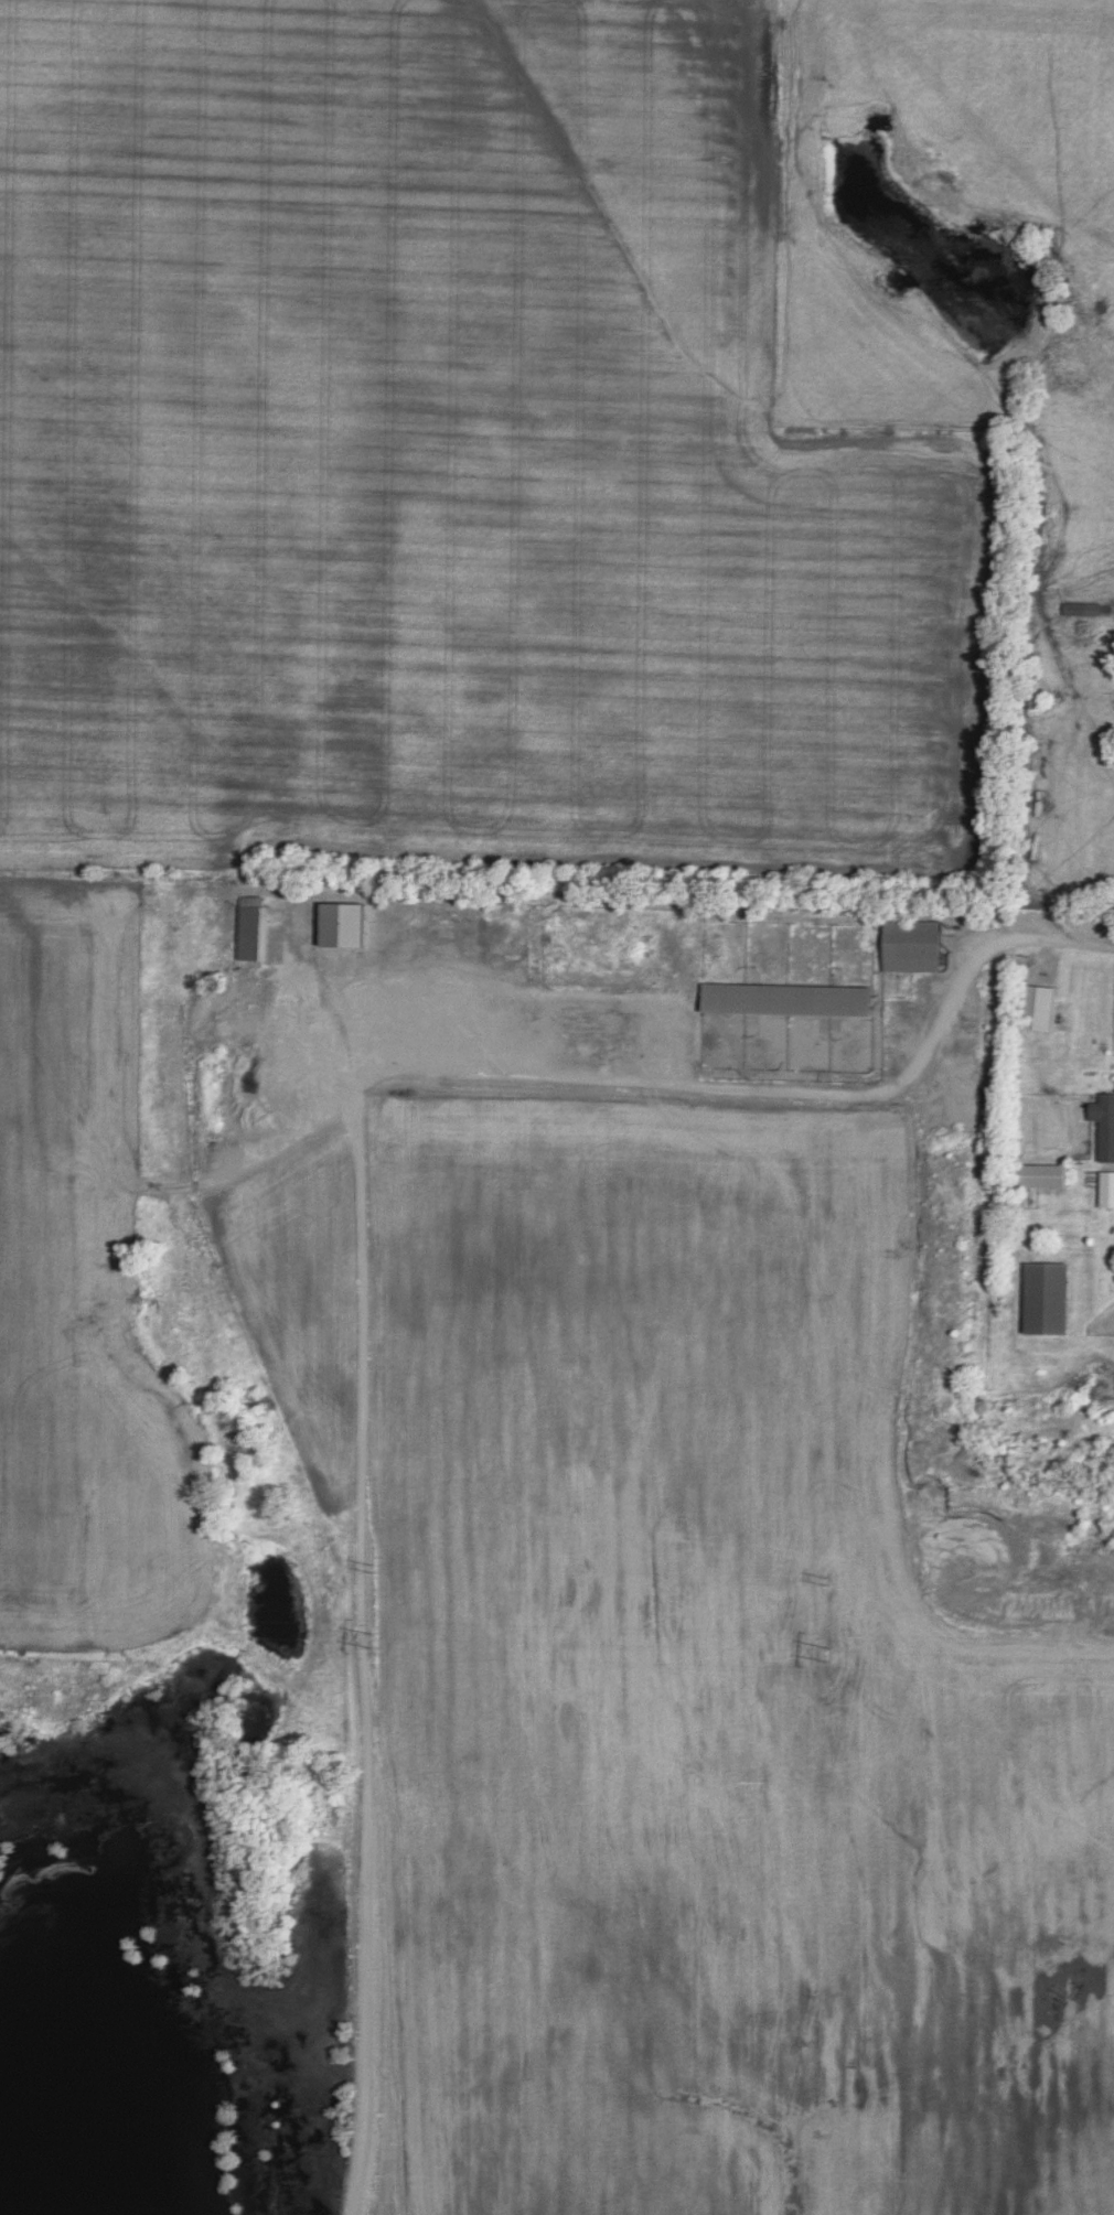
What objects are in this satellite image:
building: (342, 921)
building: (254, 926)
building: (911, 943)
road: (1041, 943)
building: (1038, 1004)
building: (1104, 1122)
building: (1036, 1173)
building: (1106, 1186)
building: (1046, 1295)
power tower: (375, 1566)
power tower: (832, 1579)
power tower: (372, 1642)
power tower: (835, 1654)

